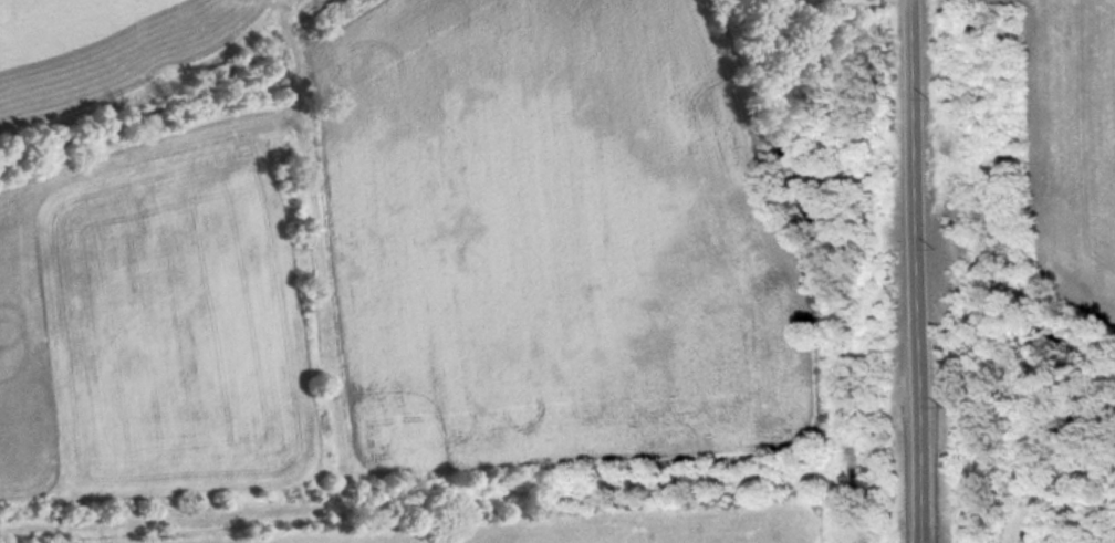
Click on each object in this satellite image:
road: (916, 199)
road: (926, 471)

